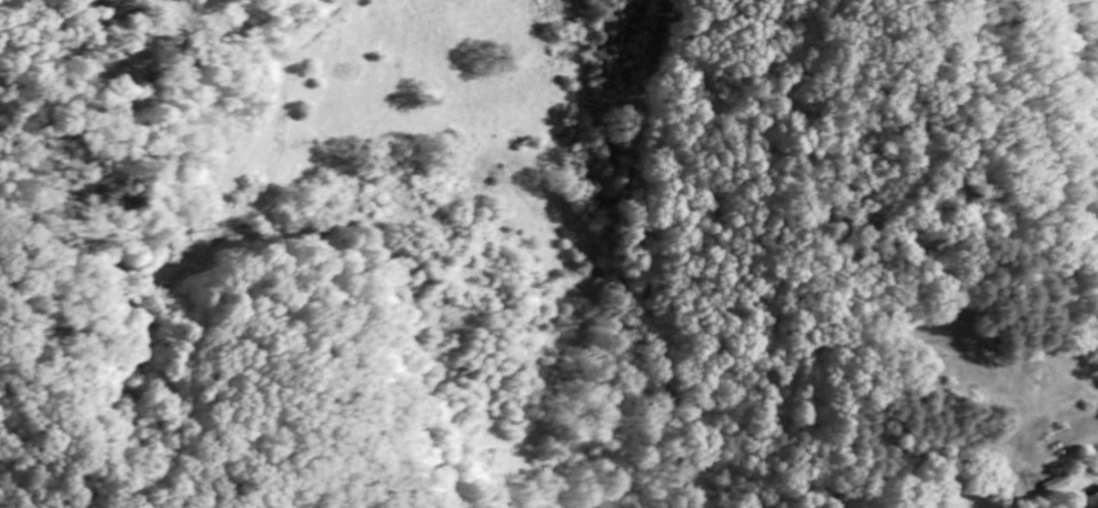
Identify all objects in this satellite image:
road: (930, 105)
building: (1057, 485)
building: (1094, 501)

